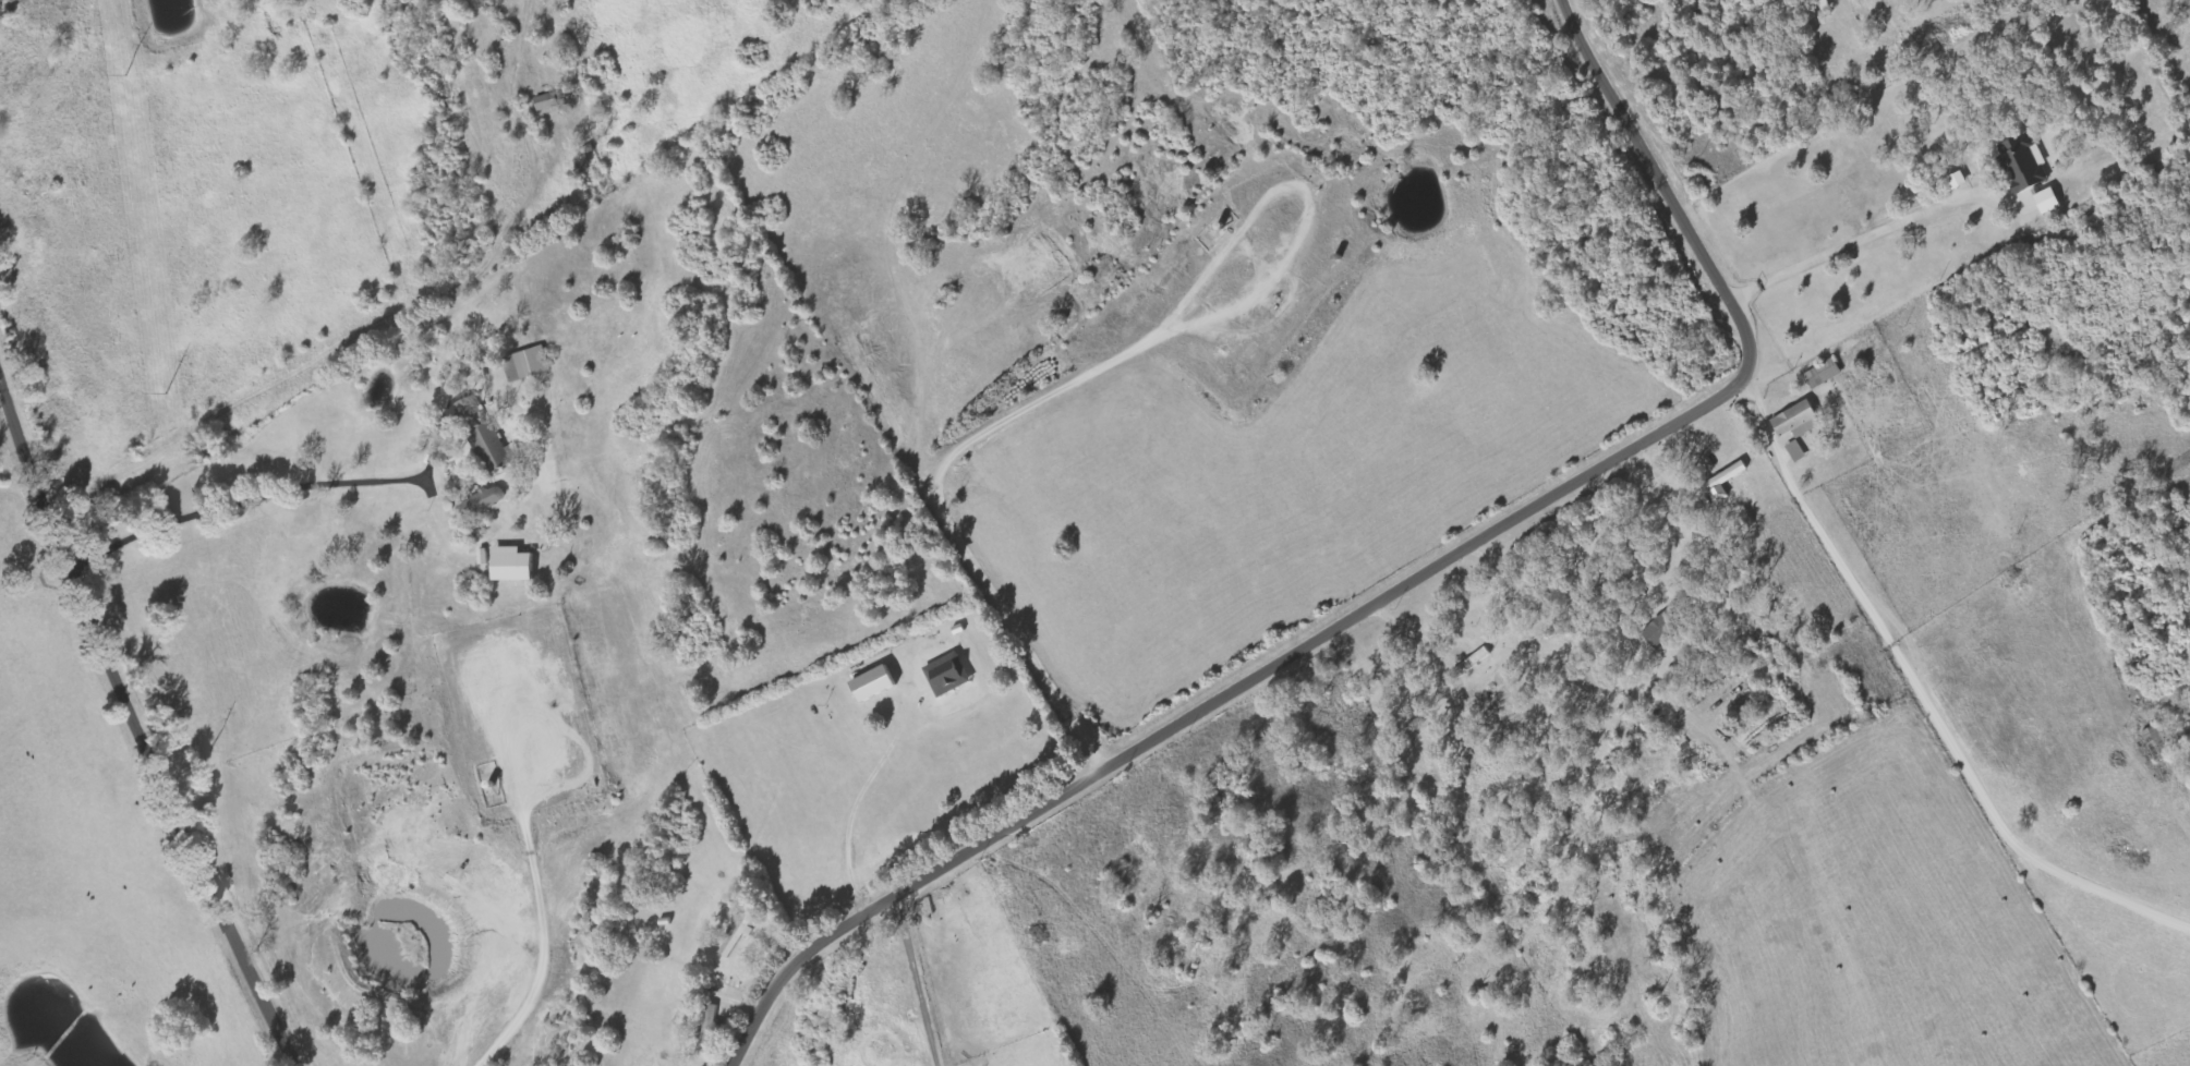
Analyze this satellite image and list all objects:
power tower: (124, 75)
building: (548, 102)
building: (2025, 163)
building: (1959, 181)
building: (2049, 201)
building: (529, 364)
building: (1824, 374)
power tower: (165, 393)
building: (1799, 421)
building: (1798, 451)
road: (22, 464)
building: (1726, 482)
building: (485, 501)
building: (484, 557)
building: (513, 565)
road: (1400, 589)
building: (1665, 628)
building: (1473, 664)
building: (948, 675)
building: (1716, 675)
building: (875, 685)
road: (1924, 698)
building: (2157, 744)
power tower: (209, 751)
road: (168, 801)
building: (739, 935)
building: (710, 1029)

